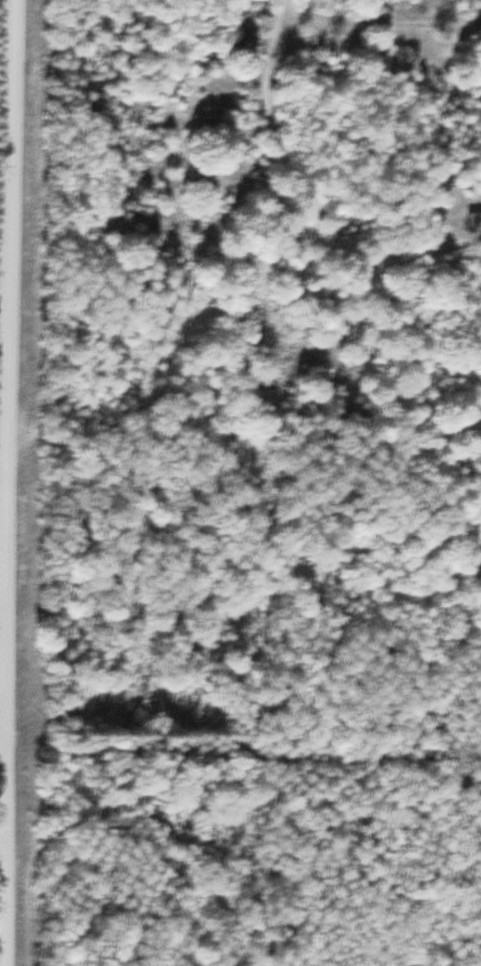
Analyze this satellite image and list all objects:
road: (376, 20)
road: (298, 189)
building: (473, 221)
road: (9, 483)
road: (4, 749)

